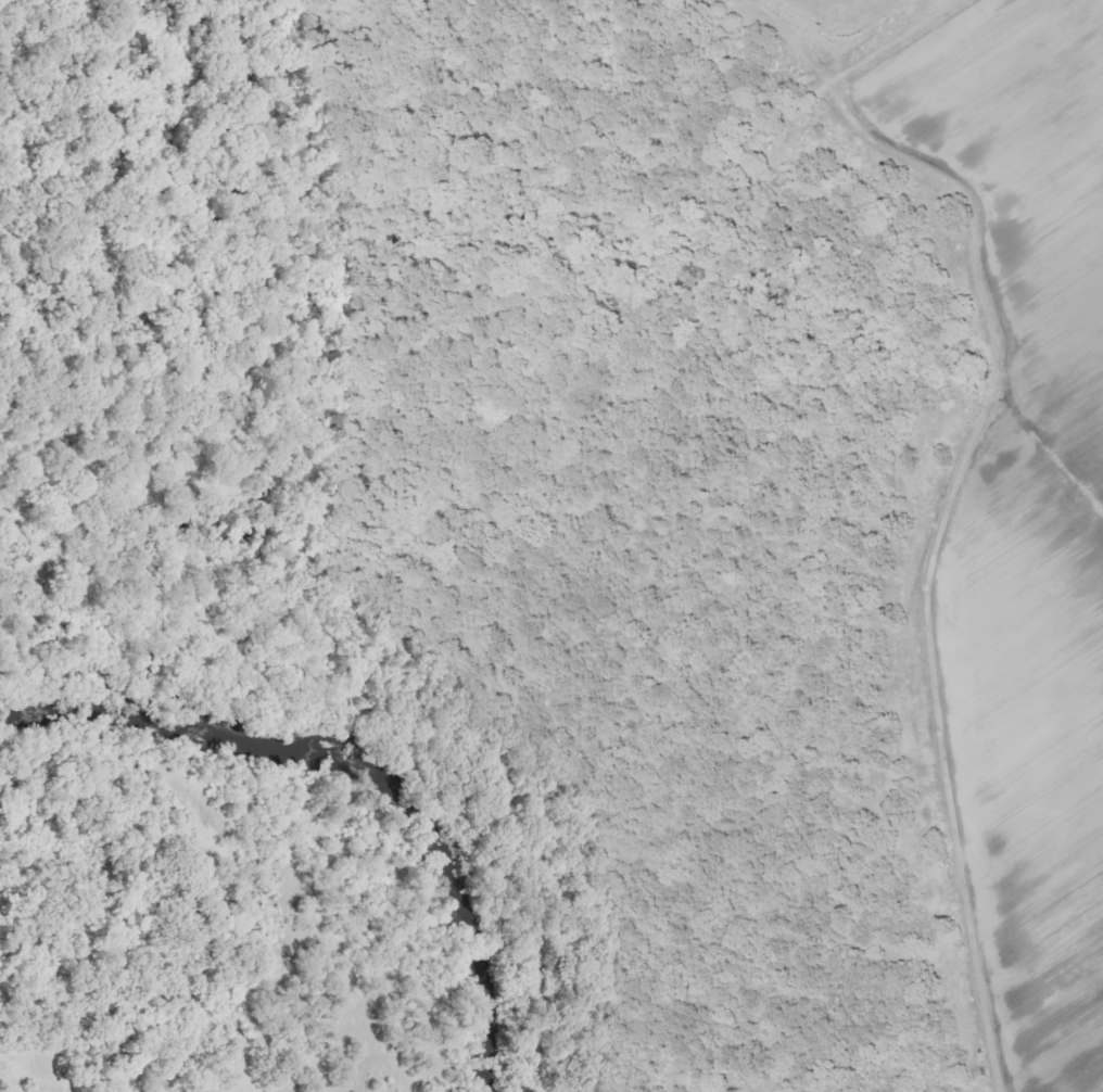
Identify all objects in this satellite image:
river: (360, 763)

